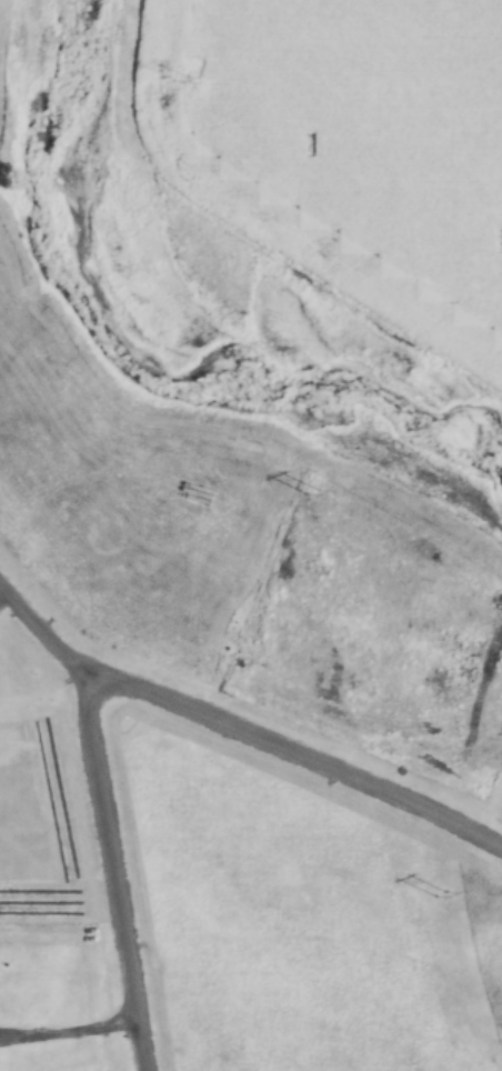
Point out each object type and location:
power tower: (180, 79)
power tower: (312, 493)
road: (44, 637)
road: (299, 758)
road: (113, 877)
power tower: (441, 895)
road: (69, 1032)

